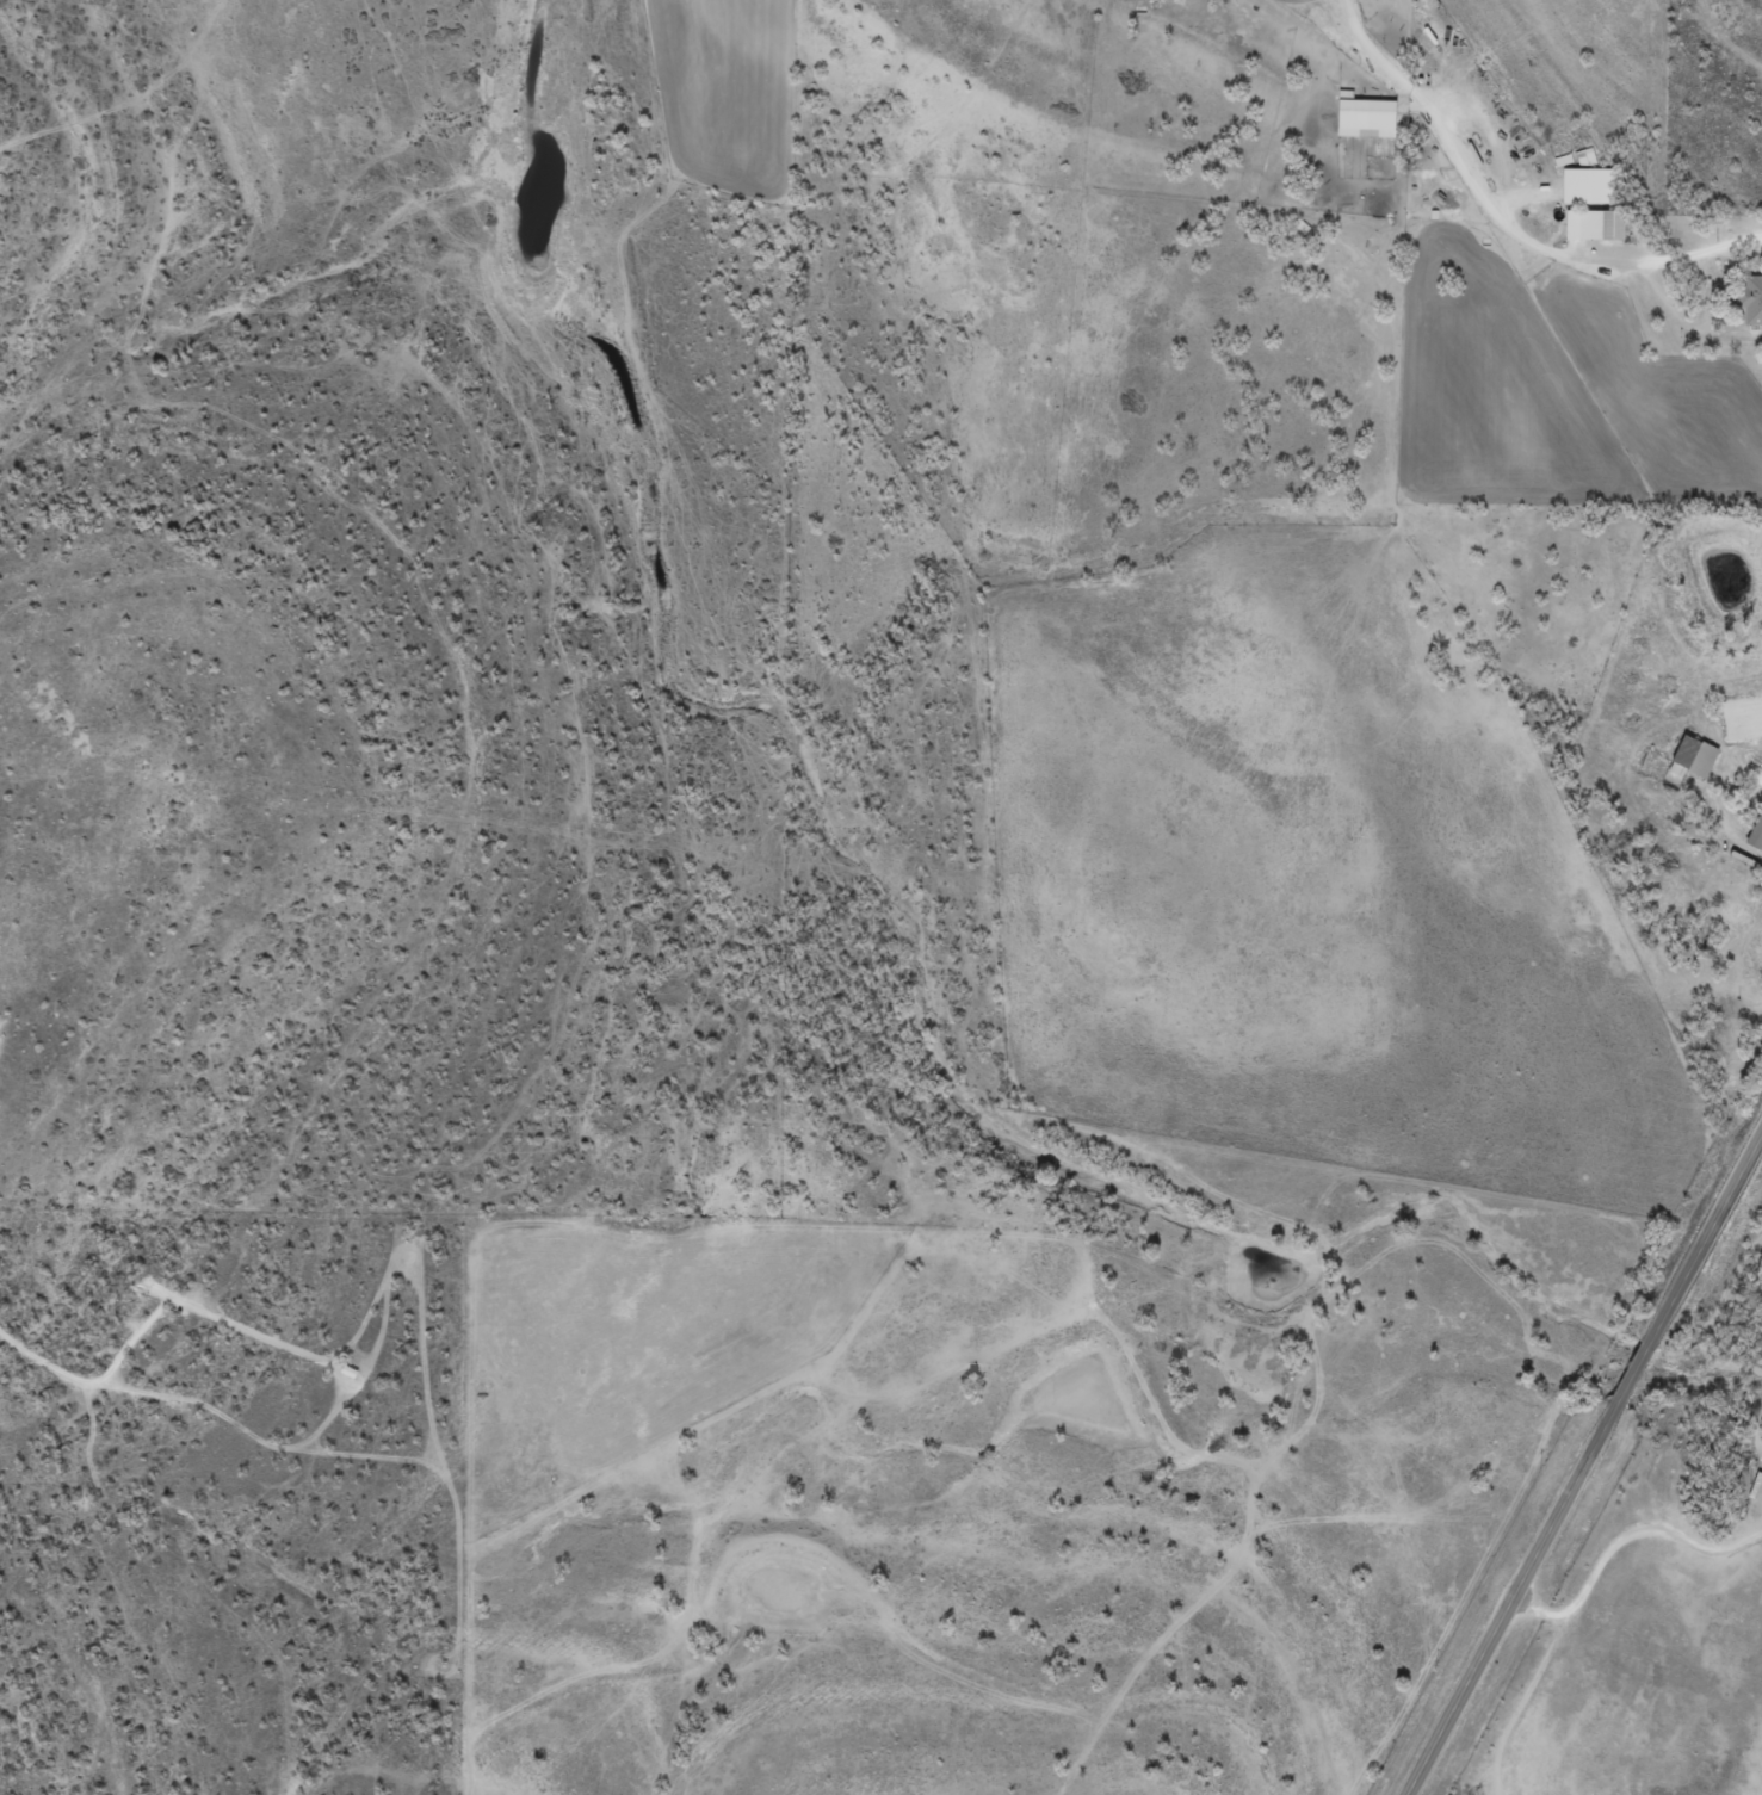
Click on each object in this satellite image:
building: (1371, 117)
building: (1591, 185)
road: (1506, 217)
building: (1599, 224)
building: (1754, 299)
building: (1698, 756)
building: (1758, 837)
road: (1585, 1467)

